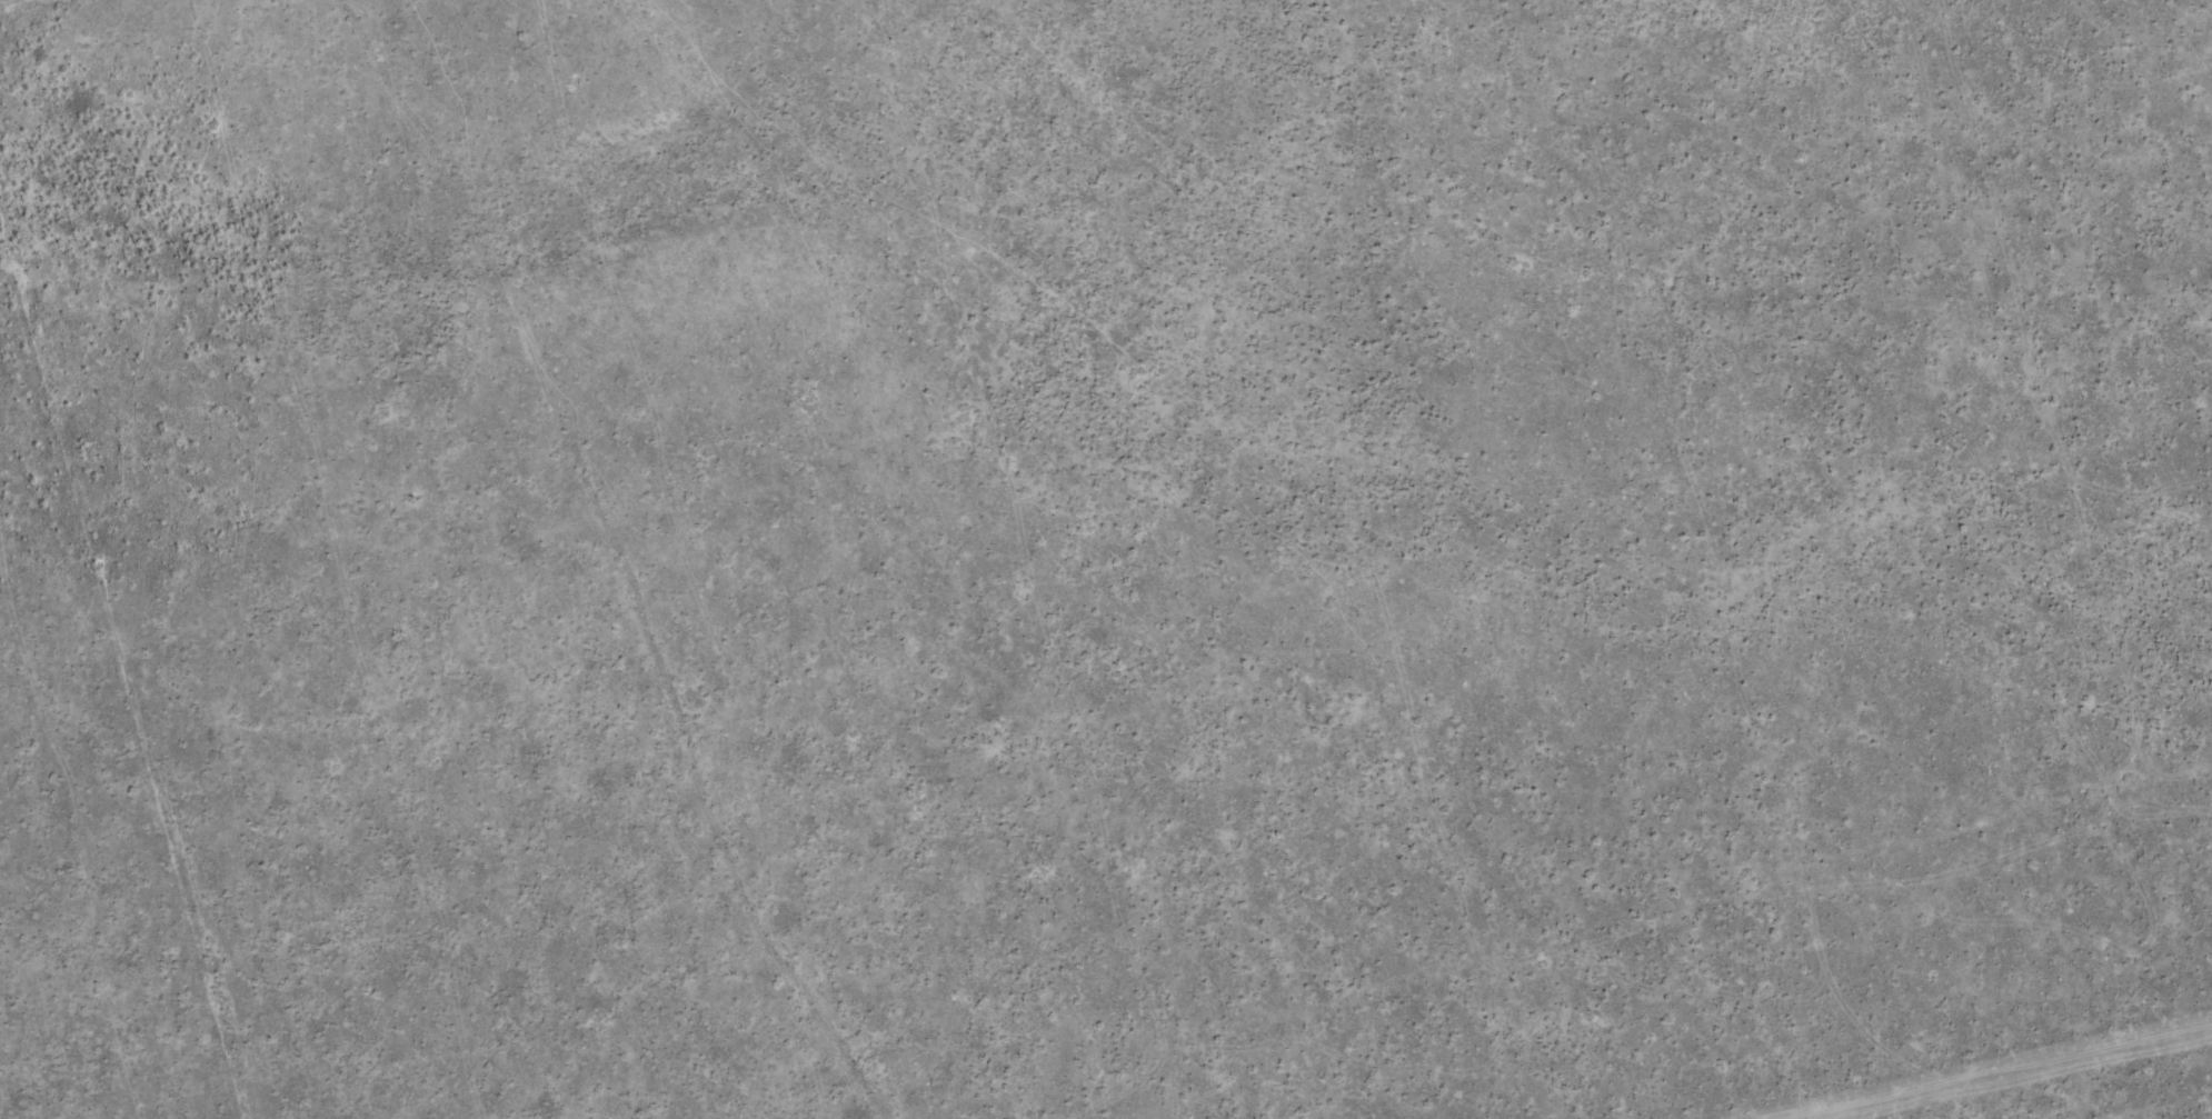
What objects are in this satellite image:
river: (1242, 99)

